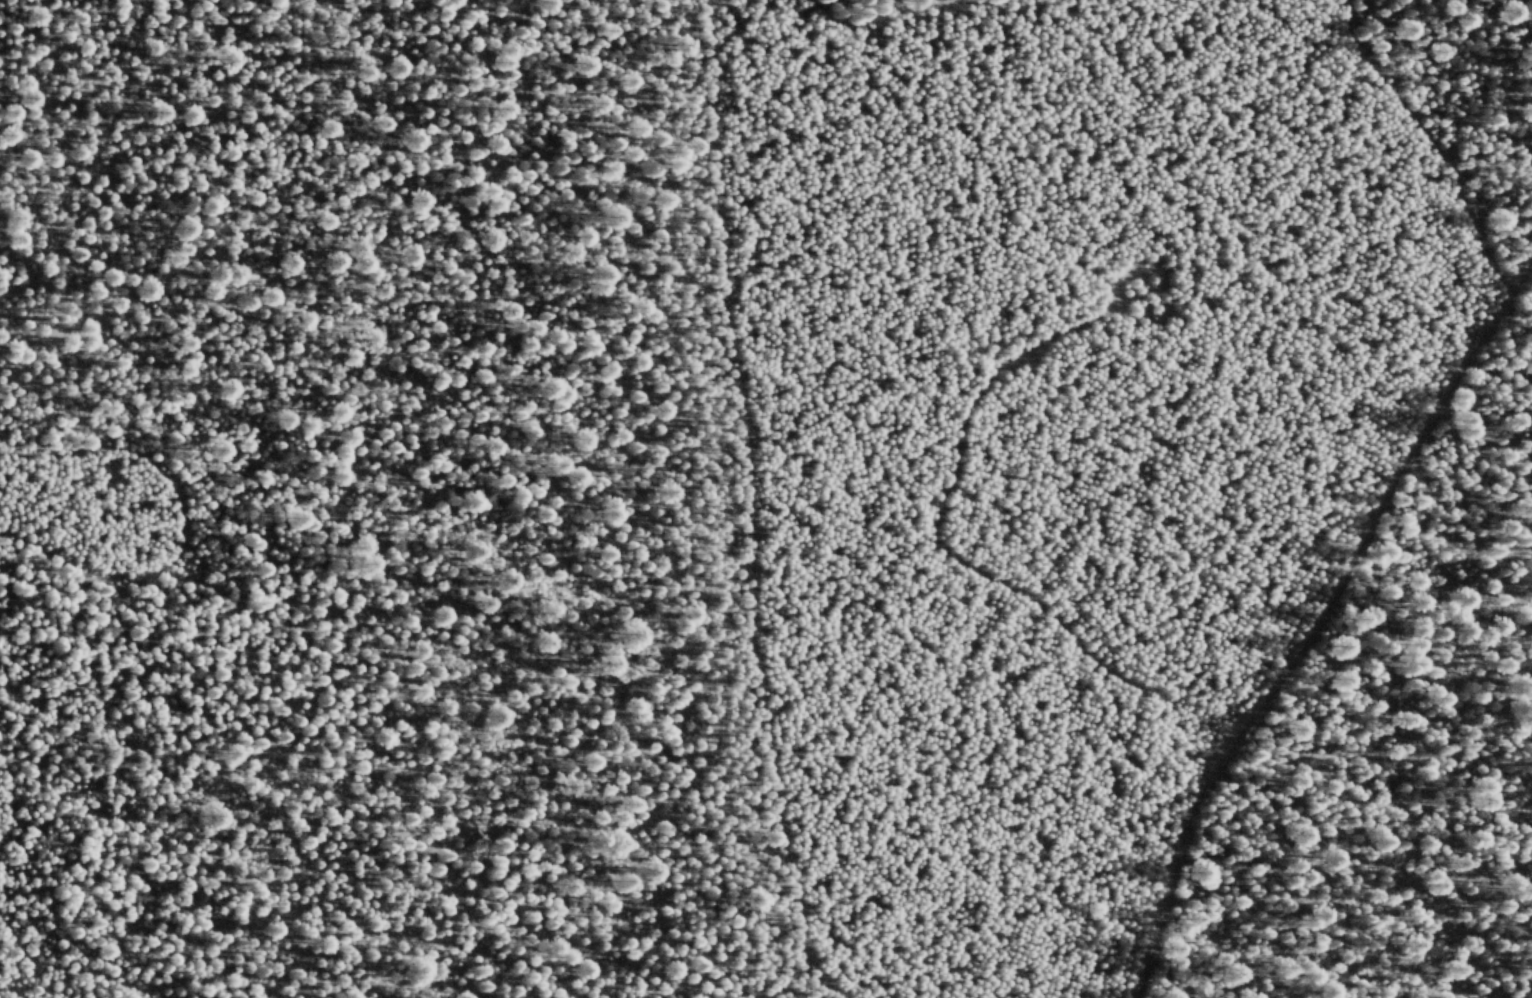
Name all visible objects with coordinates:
road: (1340, 736)

